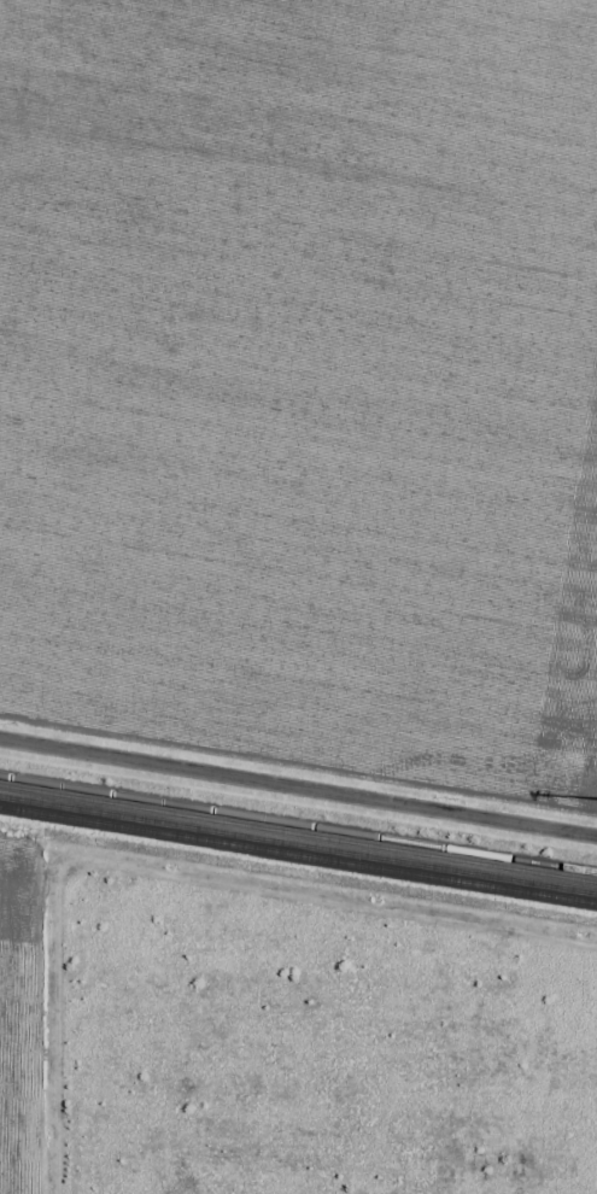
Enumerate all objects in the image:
crop: (304, 381)
road: (298, 788)
railway: (298, 829)
railway: (298, 842)

